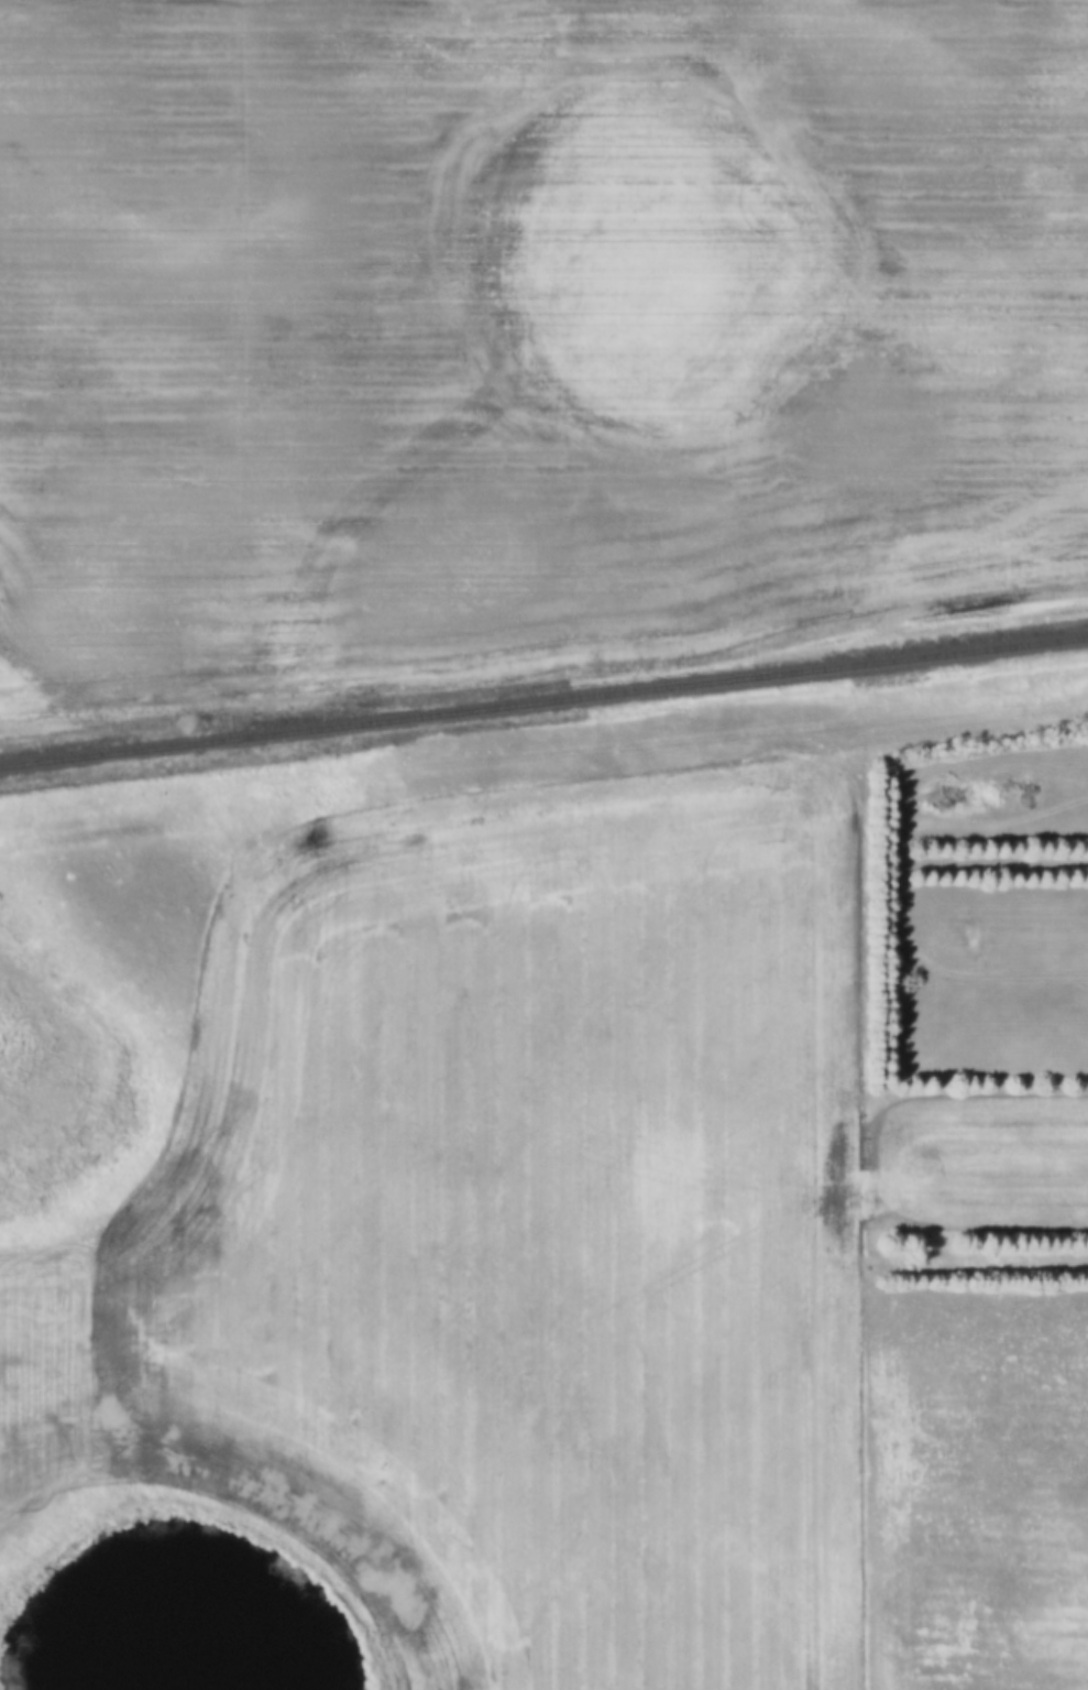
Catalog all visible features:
railway: (543, 704)
road: (1052, 817)
park: (979, 997)

